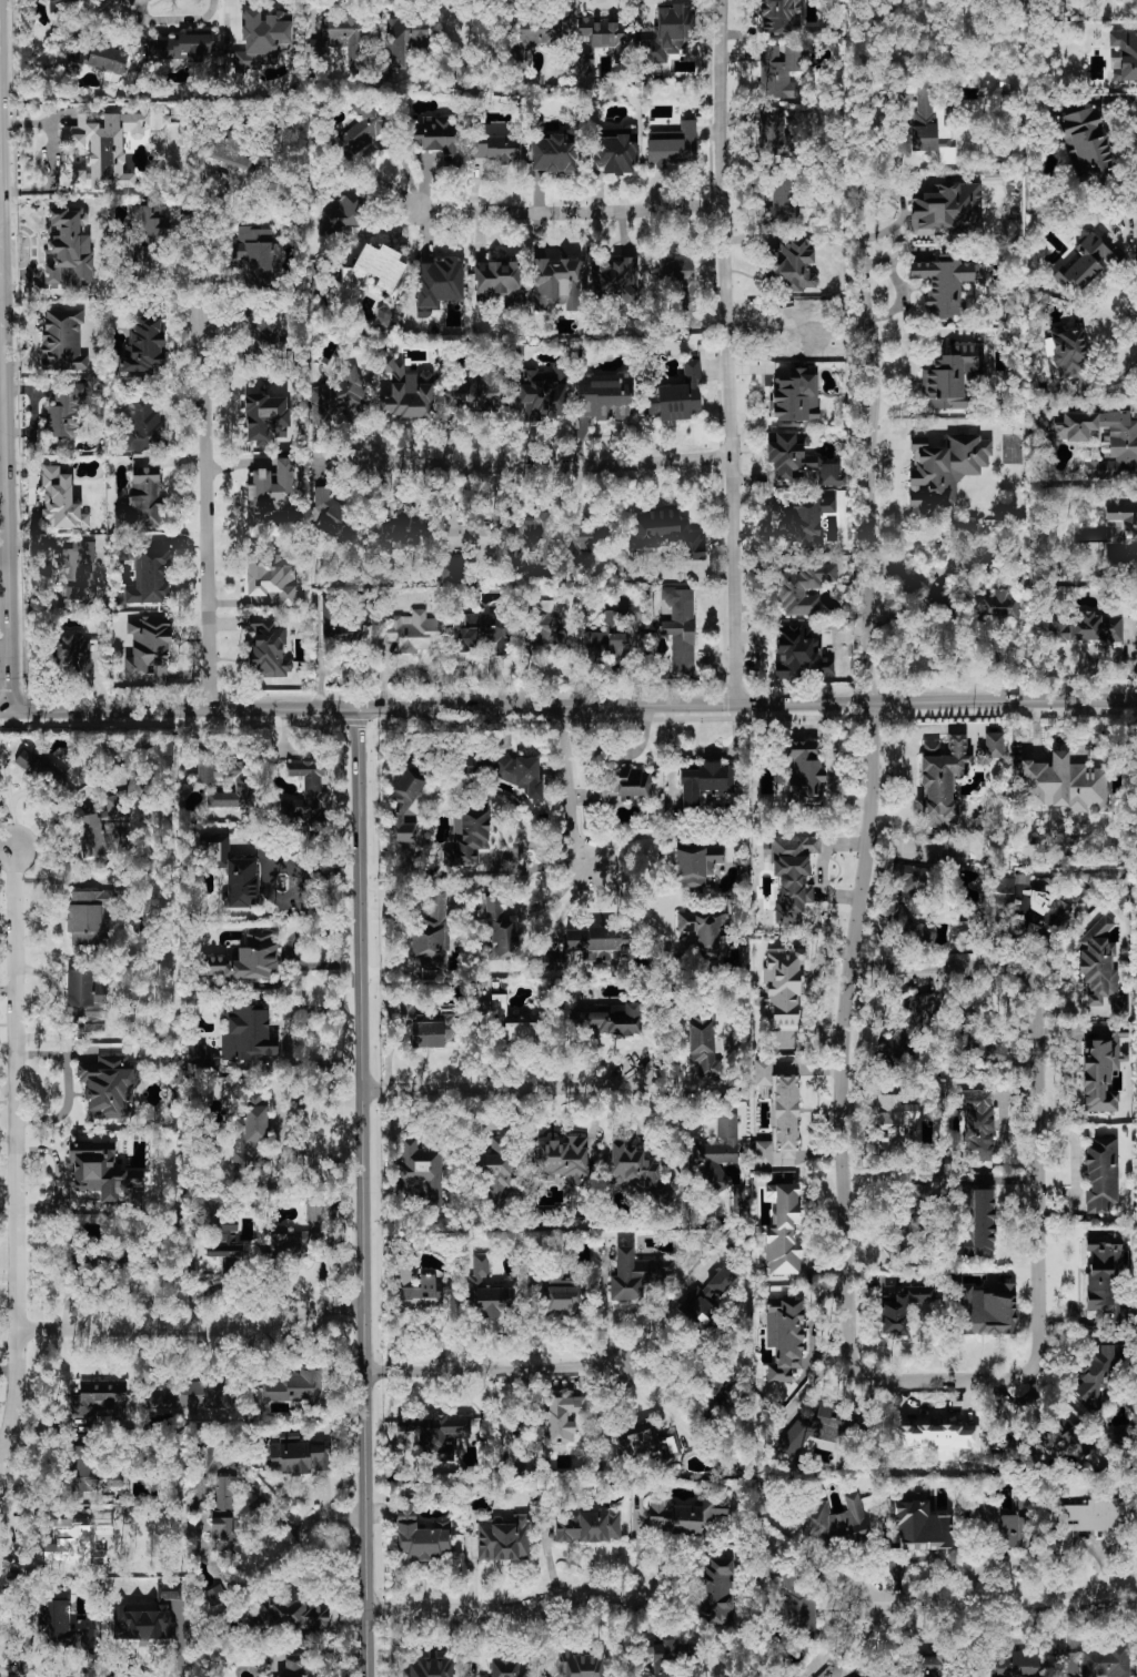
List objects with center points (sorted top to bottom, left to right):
building: (62, 6)
building: (778, 17)
building: (668, 33)
building: (342, 38)
building: (534, 38)
building: (404, 39)
building: (263, 40)
building: (602, 40)
building: (181, 48)
building: (1125, 55)
building: (105, 59)
building: (778, 70)
building: (363, 125)
building: (773, 134)
building: (439, 138)
building: (1086, 143)
building: (673, 145)
building: (105, 148)
building: (230, 150)
building: (496, 150)
building: (553, 153)
building: (613, 154)
road: (52, 156)
building: (782, 199)
building: (947, 210)
road: (193, 212)
building: (342, 212)
road: (570, 213)
building: (151, 233)
road: (1, 247)
building: (70, 249)
building: (255, 252)
building: (1085, 263)
building: (793, 265)
building: (375, 266)
building: (617, 279)
building: (678, 279)
building: (499, 283)
building: (945, 283)
building: (439, 284)
building: (555, 284)
road: (1, 309)
road: (3, 313)
building: (265, 332)
building: (785, 339)
building: (62, 341)
building: (144, 347)
road: (873, 351)
road: (728, 352)
building: (1067, 352)
building: (950, 376)
building: (474, 390)
building: (405, 391)
building: (543, 394)
building: (339, 396)
building: (676, 396)
building: (795, 396)
building: (604, 400)
road: (2, 408)
building: (67, 410)
building: (266, 418)
building: (144, 424)
building: (1123, 451)
building: (798, 459)
road: (542, 466)
building: (944, 472)
building: (272, 489)
building: (144, 499)
building: (60, 501)
road: (210, 512)
building: (334, 517)
building: (808, 522)
building: (411, 525)
building: (456, 531)
road: (3, 532)
building: (666, 533)
building: (552, 539)
building: (1124, 539)
building: (149, 576)
building: (77, 578)
building: (271, 579)
building: (807, 588)
building: (999, 605)
road: (10, 623)
building: (340, 626)
building: (1088, 628)
building: (681, 629)
building: (413, 632)
building: (481, 632)
building: (544, 633)
building: (610, 645)
building: (148, 647)
building: (268, 648)
building: (73, 649)
road: (568, 707)
building: (994, 745)
road: (702, 751)
road: (614, 755)
building: (479, 766)
building: (40, 770)
building: (804, 772)
building: (521, 775)
road: (833, 777)
building: (940, 780)
building: (227, 782)
building: (626, 782)
road: (571, 784)
building: (705, 785)
building: (1064, 785)
building: (305, 796)
building: (407, 800)
building: (469, 835)
road: (626, 839)
building: (697, 863)
building: (231, 871)
building: (792, 876)
building: (909, 880)
road: (279, 900)
road: (635, 906)
building: (1027, 906)
building: (87, 917)
building: (500, 930)
building: (705, 930)
building: (431, 935)
building: (595, 942)
building: (243, 960)
building: (553, 962)
building: (1100, 968)
building: (784, 987)
road: (57, 988)
building: (87, 1000)
building: (499, 1008)
building: (608, 1019)
building: (907, 1027)
building: (432, 1031)
building: (520, 1032)
road: (69, 1036)
building: (239, 1038)
building: (703, 1044)
building: (986, 1050)
building: (762, 1072)
building: (1101, 1074)
road: (497, 1085)
road: (68, 1087)
building: (109, 1088)
building: (893, 1120)
building: (977, 1123)
road: (644, 1130)
building: (251, 1135)
road: (8, 1138)
building: (762, 1153)
building: (717, 1155)
building: (562, 1160)
road: (17, 1170)
building: (419, 1172)
building: (637, 1172)
road: (1076, 1172)
building: (102, 1173)
building: (495, 1173)
building: (1101, 1175)
road: (364, 1193)
building: (919, 1196)
building: (739, 1199)
building: (977, 1222)
building: (783, 1230)
building: (299, 1233)
building: (909, 1237)
building: (637, 1274)
building: (1104, 1279)
building: (484, 1291)
building: (422, 1294)
building: (559, 1296)
building: (706, 1297)
building: (904, 1309)
building: (986, 1309)
road: (604, 1316)
road: (660, 1316)
road: (193, 1329)
building: (784, 1338)
road: (491, 1368)
building: (1099, 1371)
road: (898, 1378)
building: (296, 1387)
building: (193, 1395)
building: (100, 1397)
building: (714, 1398)
road: (652, 1404)
building: (563, 1416)
building: (813, 1428)
building: (932, 1436)
building: (1059, 1444)
building: (646, 1446)
building: (300, 1457)
building: (89, 1472)
building: (198, 1492)
building: (225, 1494)
building: (686, 1515)
building: (1090, 1518)
building: (836, 1521)
building: (1005, 1525)
building: (587, 1526)
building: (922, 1527)
building: (224, 1532)
road: (342, 1532)
building: (421, 1536)
building: (503, 1538)
building: (716, 1592)
building: (217, 1598)
road: (1002, 1602)
building: (797, 1605)
road: (513, 1613)
building: (292, 1615)
building: (54, 1622)
road: (839, 1639)
building: (661, 1655)
building: (1105, 1661)
building: (1016, 1664)
building: (580, 1665)
building: (928, 1666)
building: (429, 1668)
building: (509, 1668)
building: (293, 1669)
building: (843, 1669)

